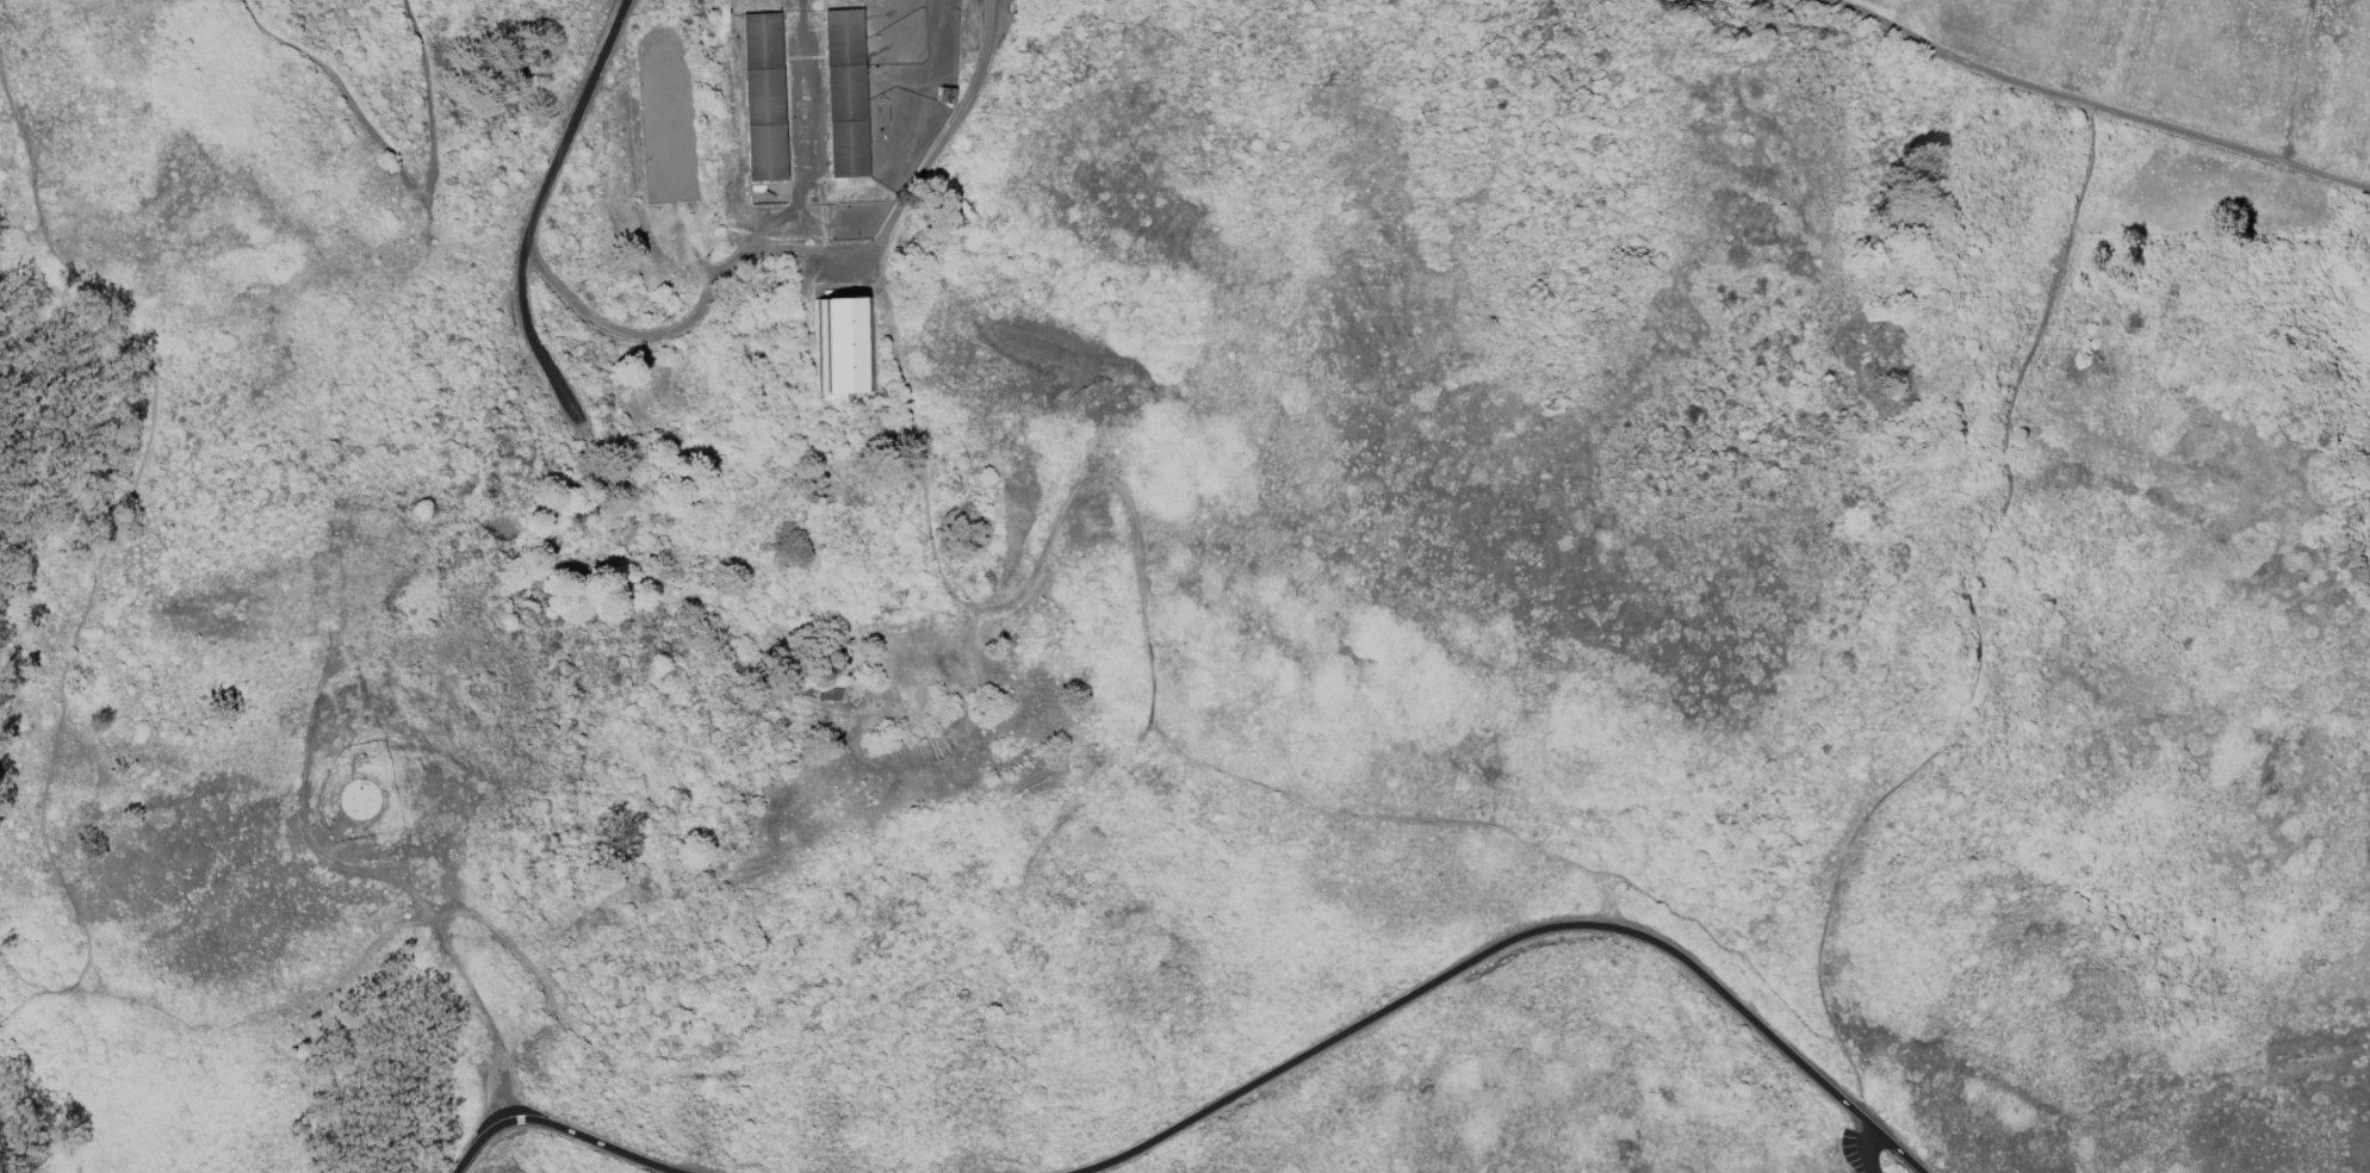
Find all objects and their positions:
road: (85, 4)
road: (2300, 81)
building: (850, 91)
building: (764, 98)
road: (2095, 105)
road: (393, 162)
road: (539, 216)
road: (807, 249)
building: (844, 348)
road: (106, 550)
road: (1013, 601)
road: (1974, 627)
building: (359, 799)
storage tank: (359, 799)
road: (1515, 837)
road: (392, 882)
road: (1521, 939)
road: (23, 967)
road: (819, 1032)
parking lot: (497, 1093)
road: (560, 1130)
parking lot: (1868, 1140)
road: (1880, 1155)
road: (1896, 1160)

